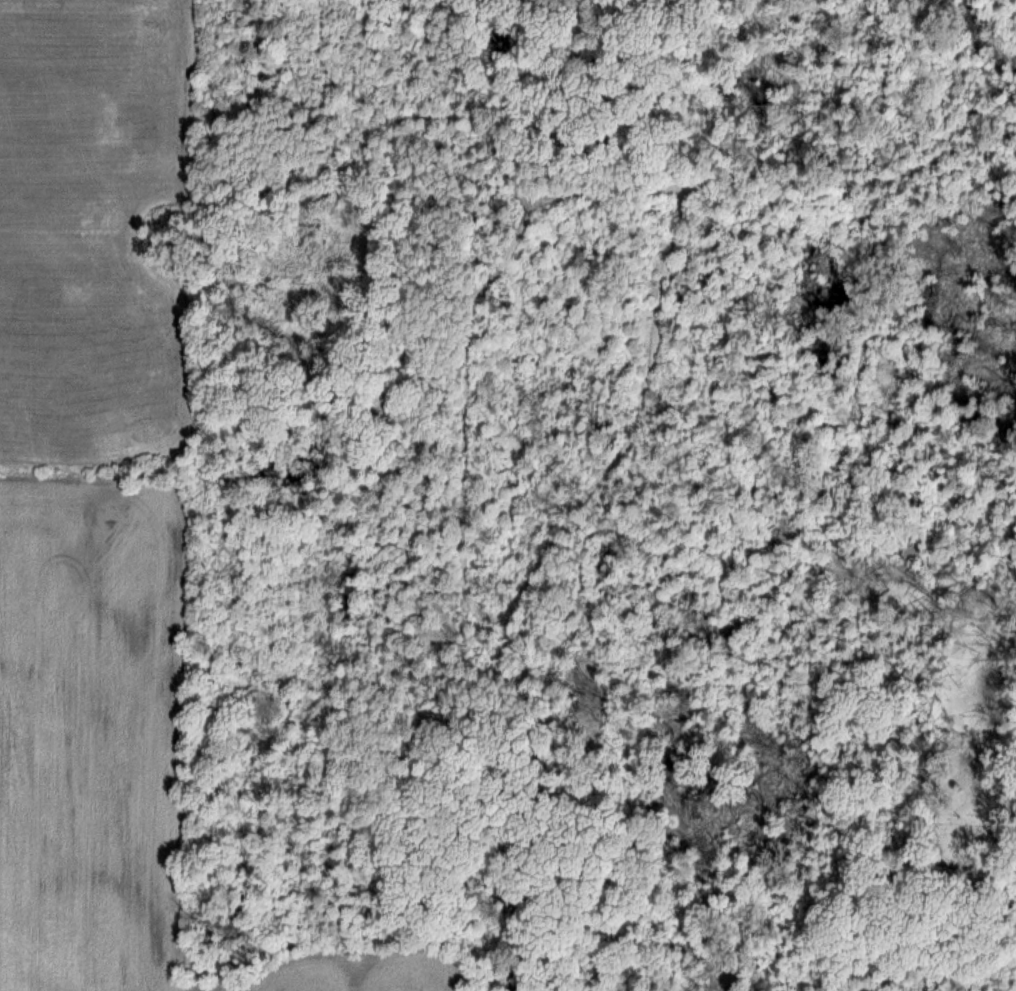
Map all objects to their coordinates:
road: (253, 218)
road: (712, 334)
park: (598, 488)
road: (587, 871)
road: (1007, 975)
road: (909, 978)

